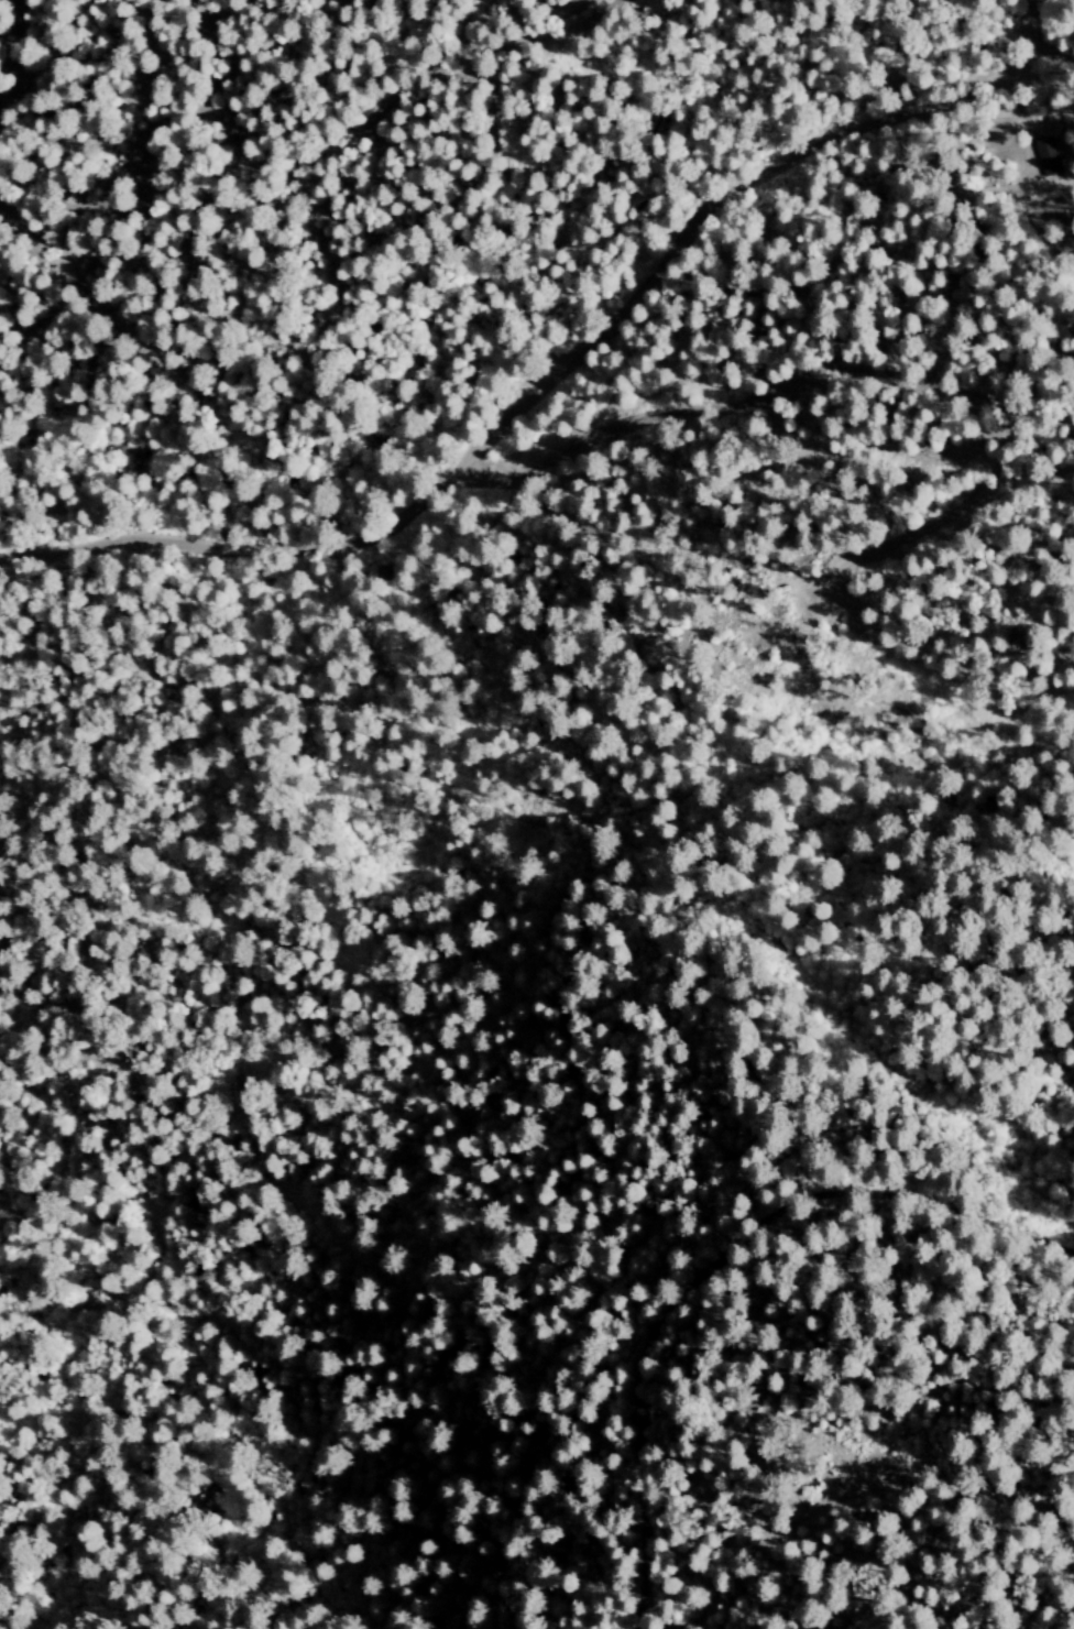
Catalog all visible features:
road: (10, 42)
road: (999, 112)
road: (327, 161)
road: (559, 363)
road: (714, 1264)
road: (969, 1498)
road: (1043, 1515)
road: (759, 1545)

